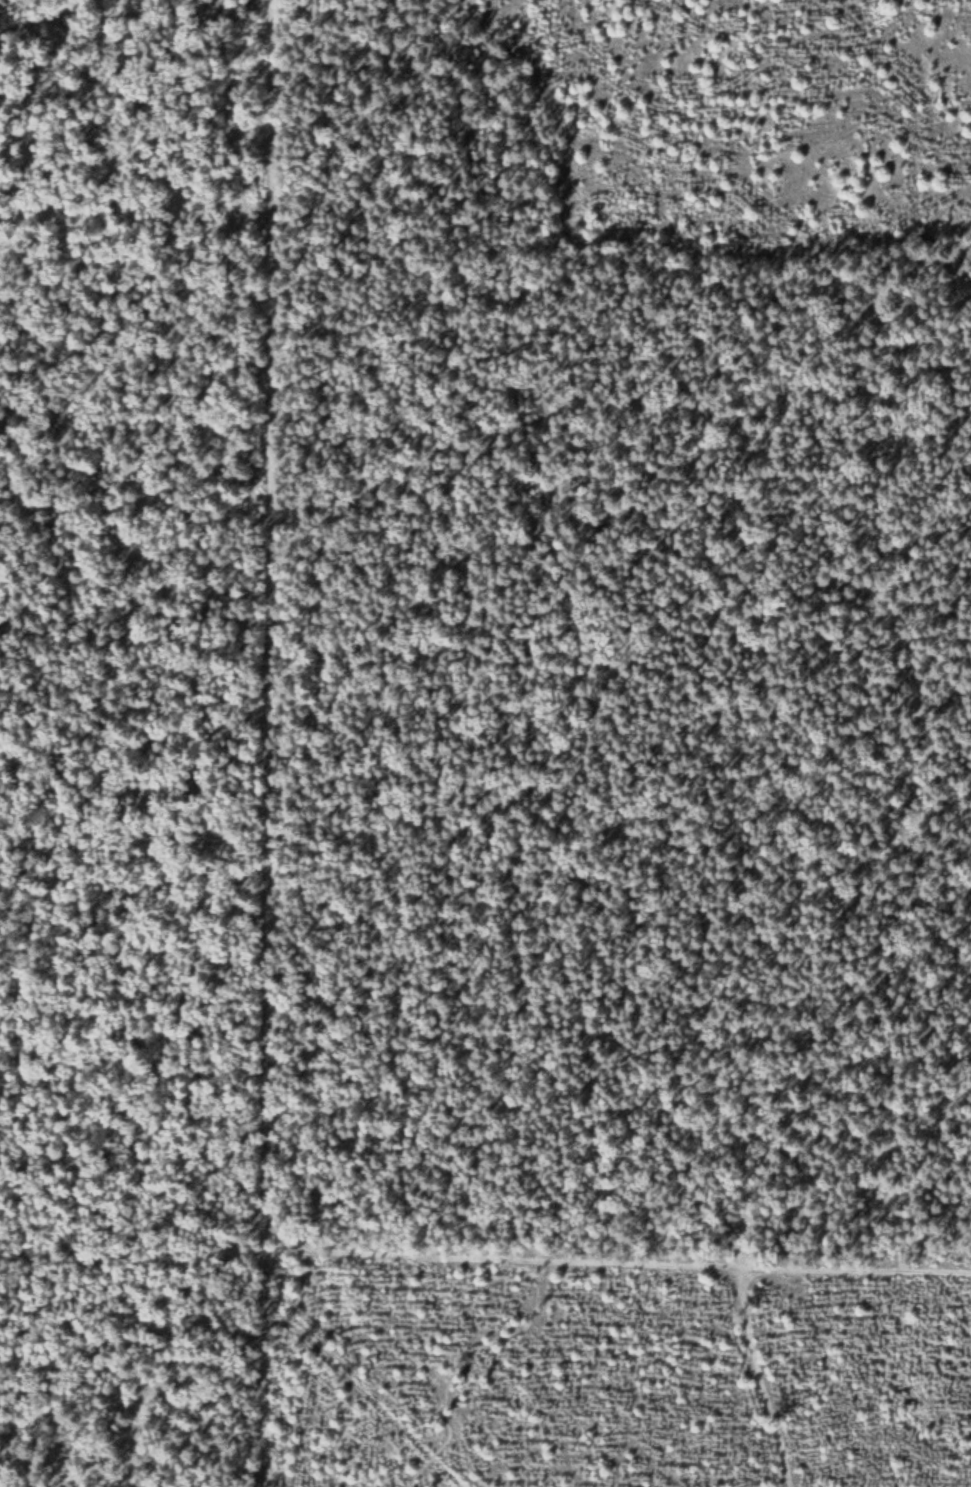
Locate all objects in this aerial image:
road: (105, 21)
road: (565, 624)
road: (265, 743)
road: (472, 772)
road: (497, 1248)
road: (851, 1261)
road: (759, 1371)
road: (349, 1392)

